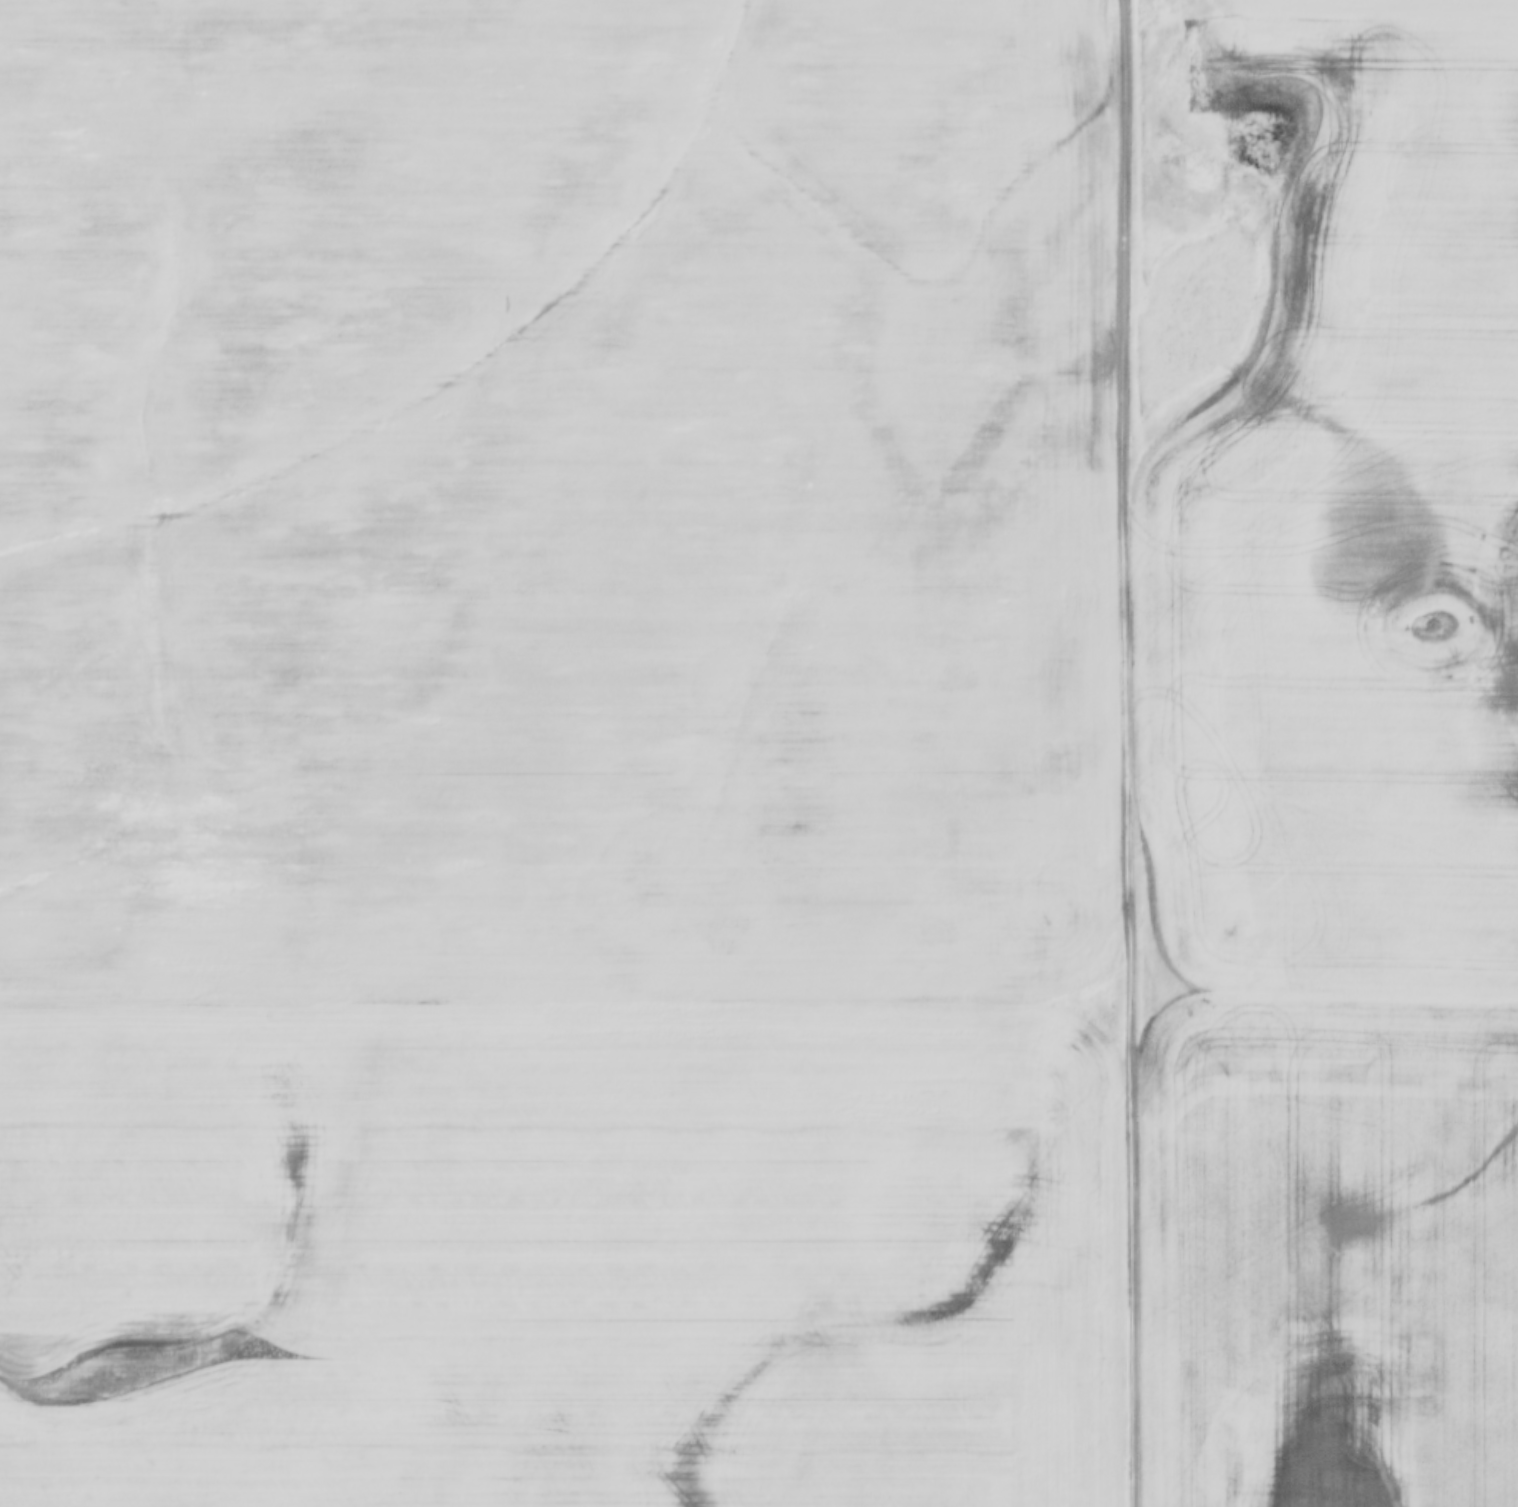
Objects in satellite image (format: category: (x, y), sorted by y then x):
road: (1132, 753)

